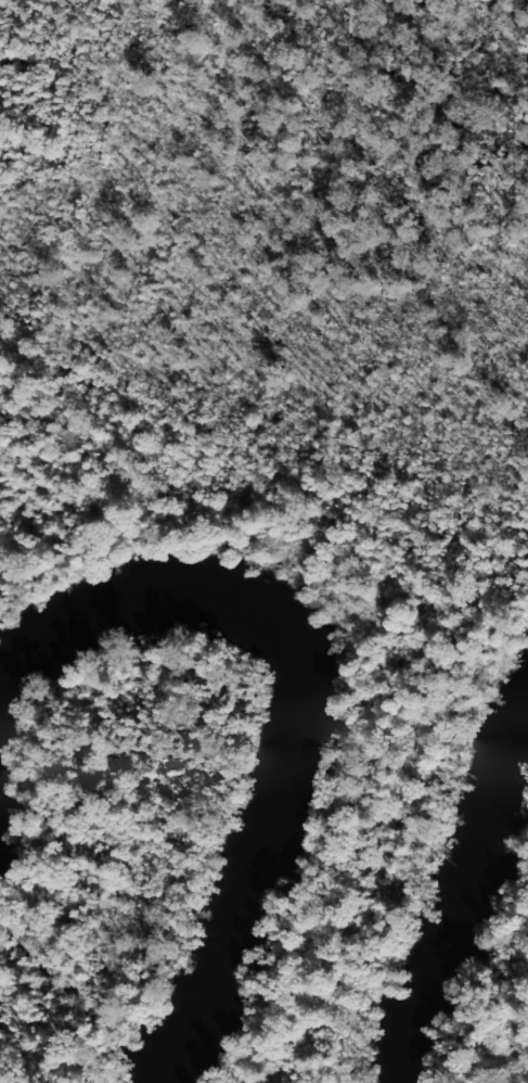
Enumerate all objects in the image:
river: (309, 705)
river: (460, 917)

